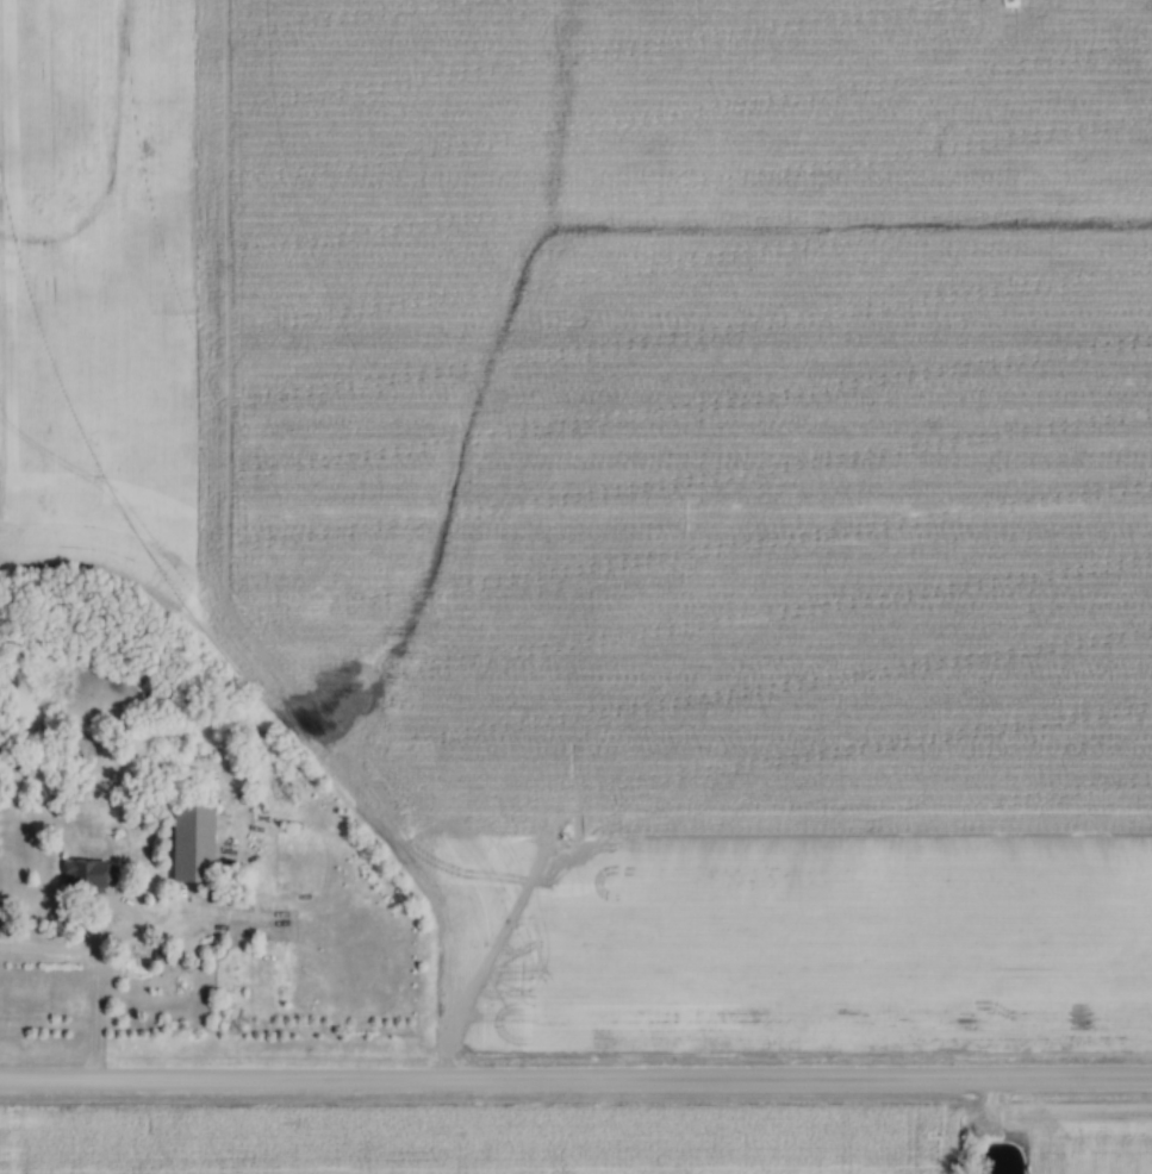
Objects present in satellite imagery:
building: (200, 838)
building: (82, 875)
road: (88, 973)
road: (575, 1081)

